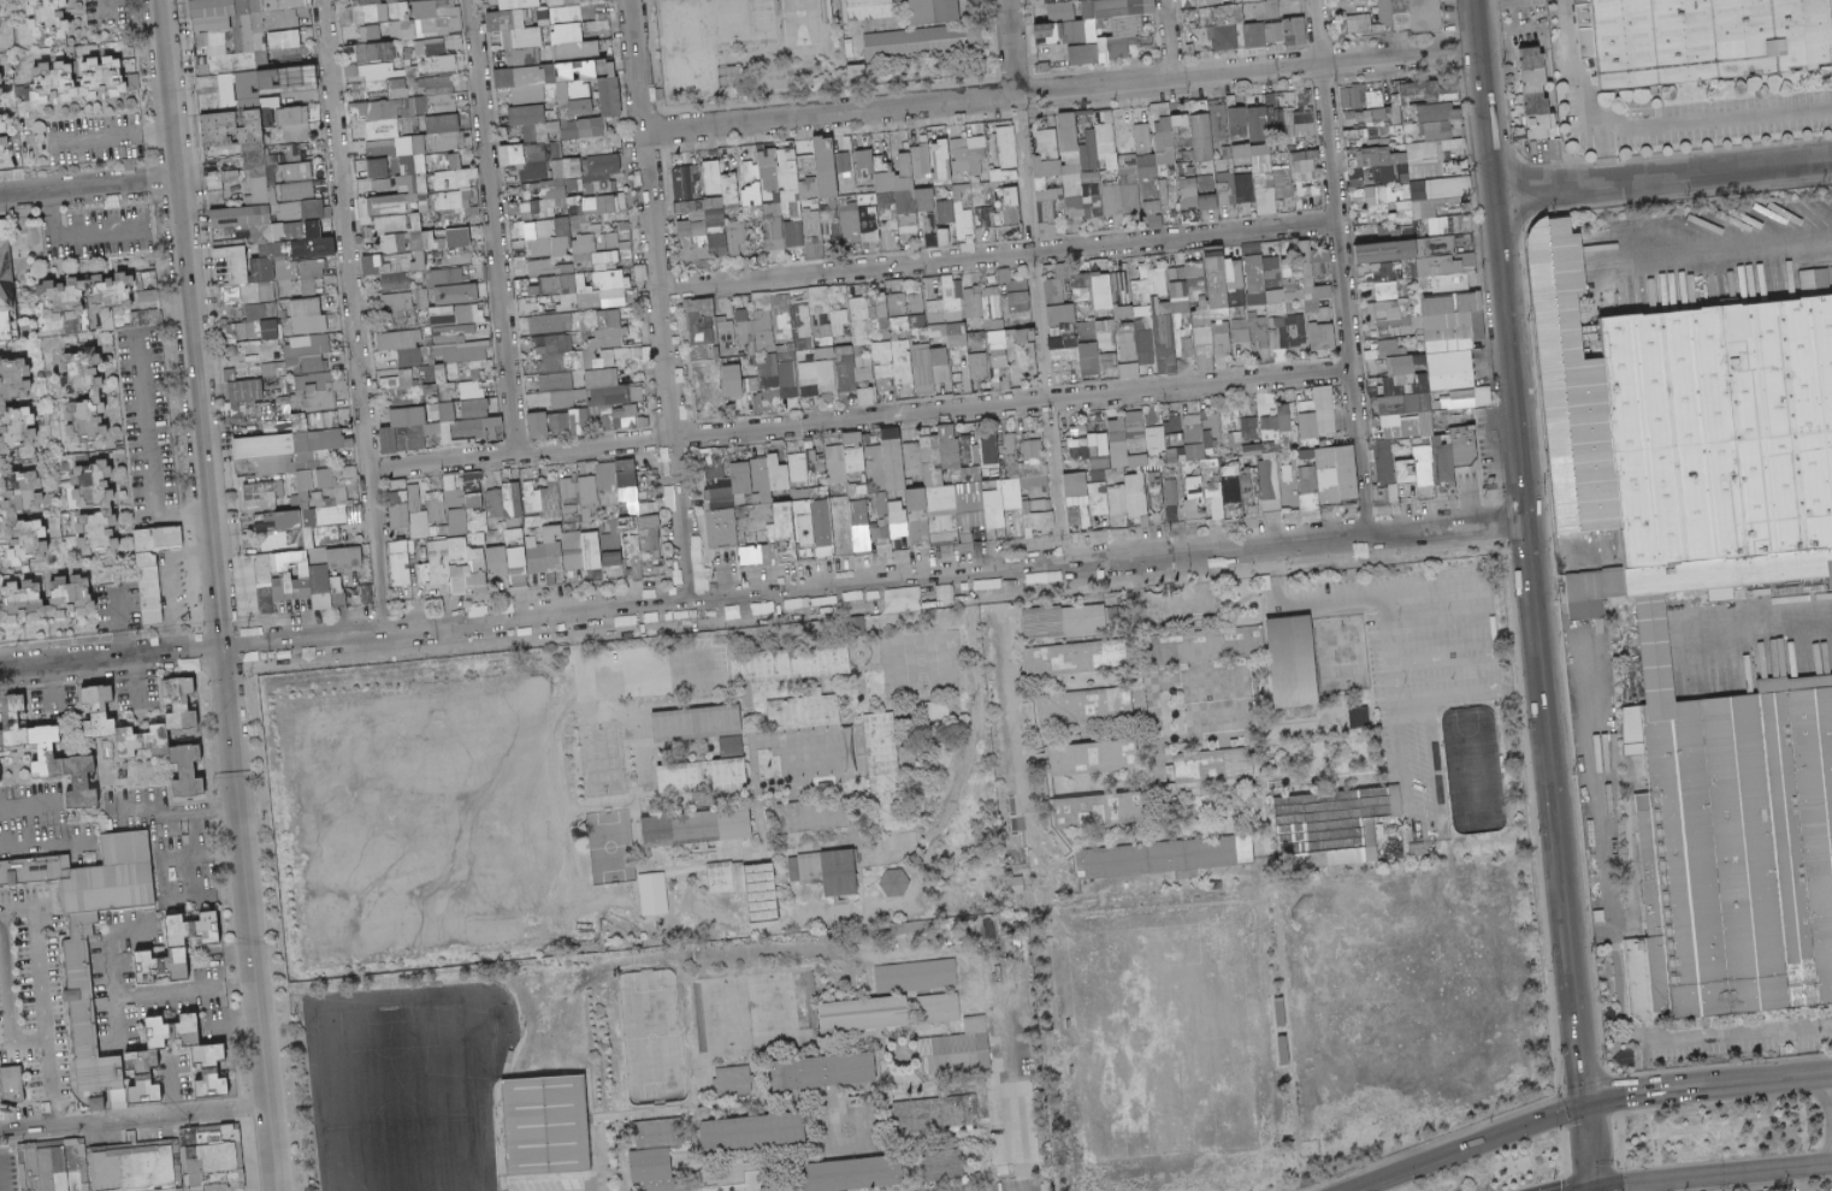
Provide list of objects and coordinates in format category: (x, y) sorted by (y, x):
park: (793, 20)
park: (681, 46)
park: (429, 845)
park: (1405, 930)
park: (745, 1014)
park: (649, 1036)
park: (1160, 1039)
park: (1405, 1055)
park: (407, 1085)
parking lot: (1009, 1143)
parking lot: (560, 1185)

